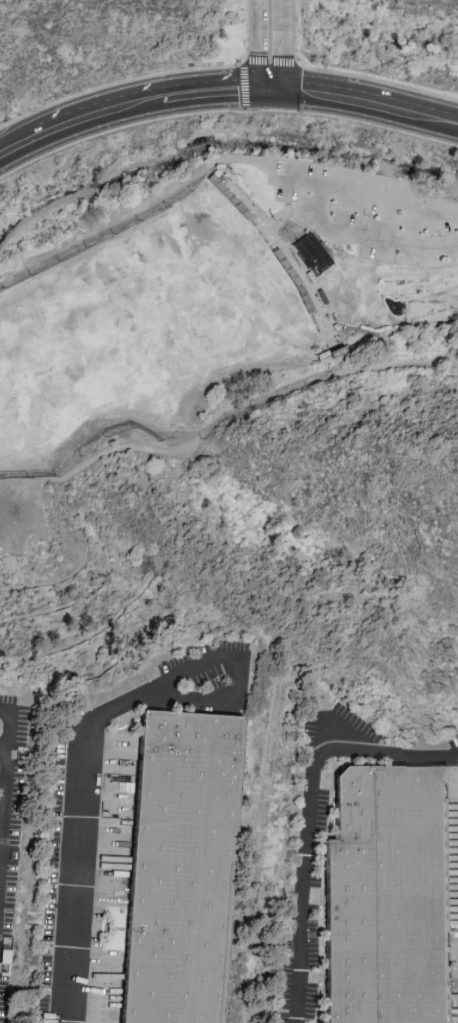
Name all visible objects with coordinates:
road: (261, 45)
road: (284, 45)
traffic signals: (260, 91)
road: (272, 91)
traffic signals: (284, 92)
road: (126, 107)
road: (371, 107)
road: (320, 204)
road: (413, 229)
building: (309, 254)
park: (238, 325)
road: (241, 674)
road: (327, 732)
road: (6, 748)
road: (8, 807)
road: (303, 815)
road: (77, 840)
building: (187, 871)
building: (394, 899)

